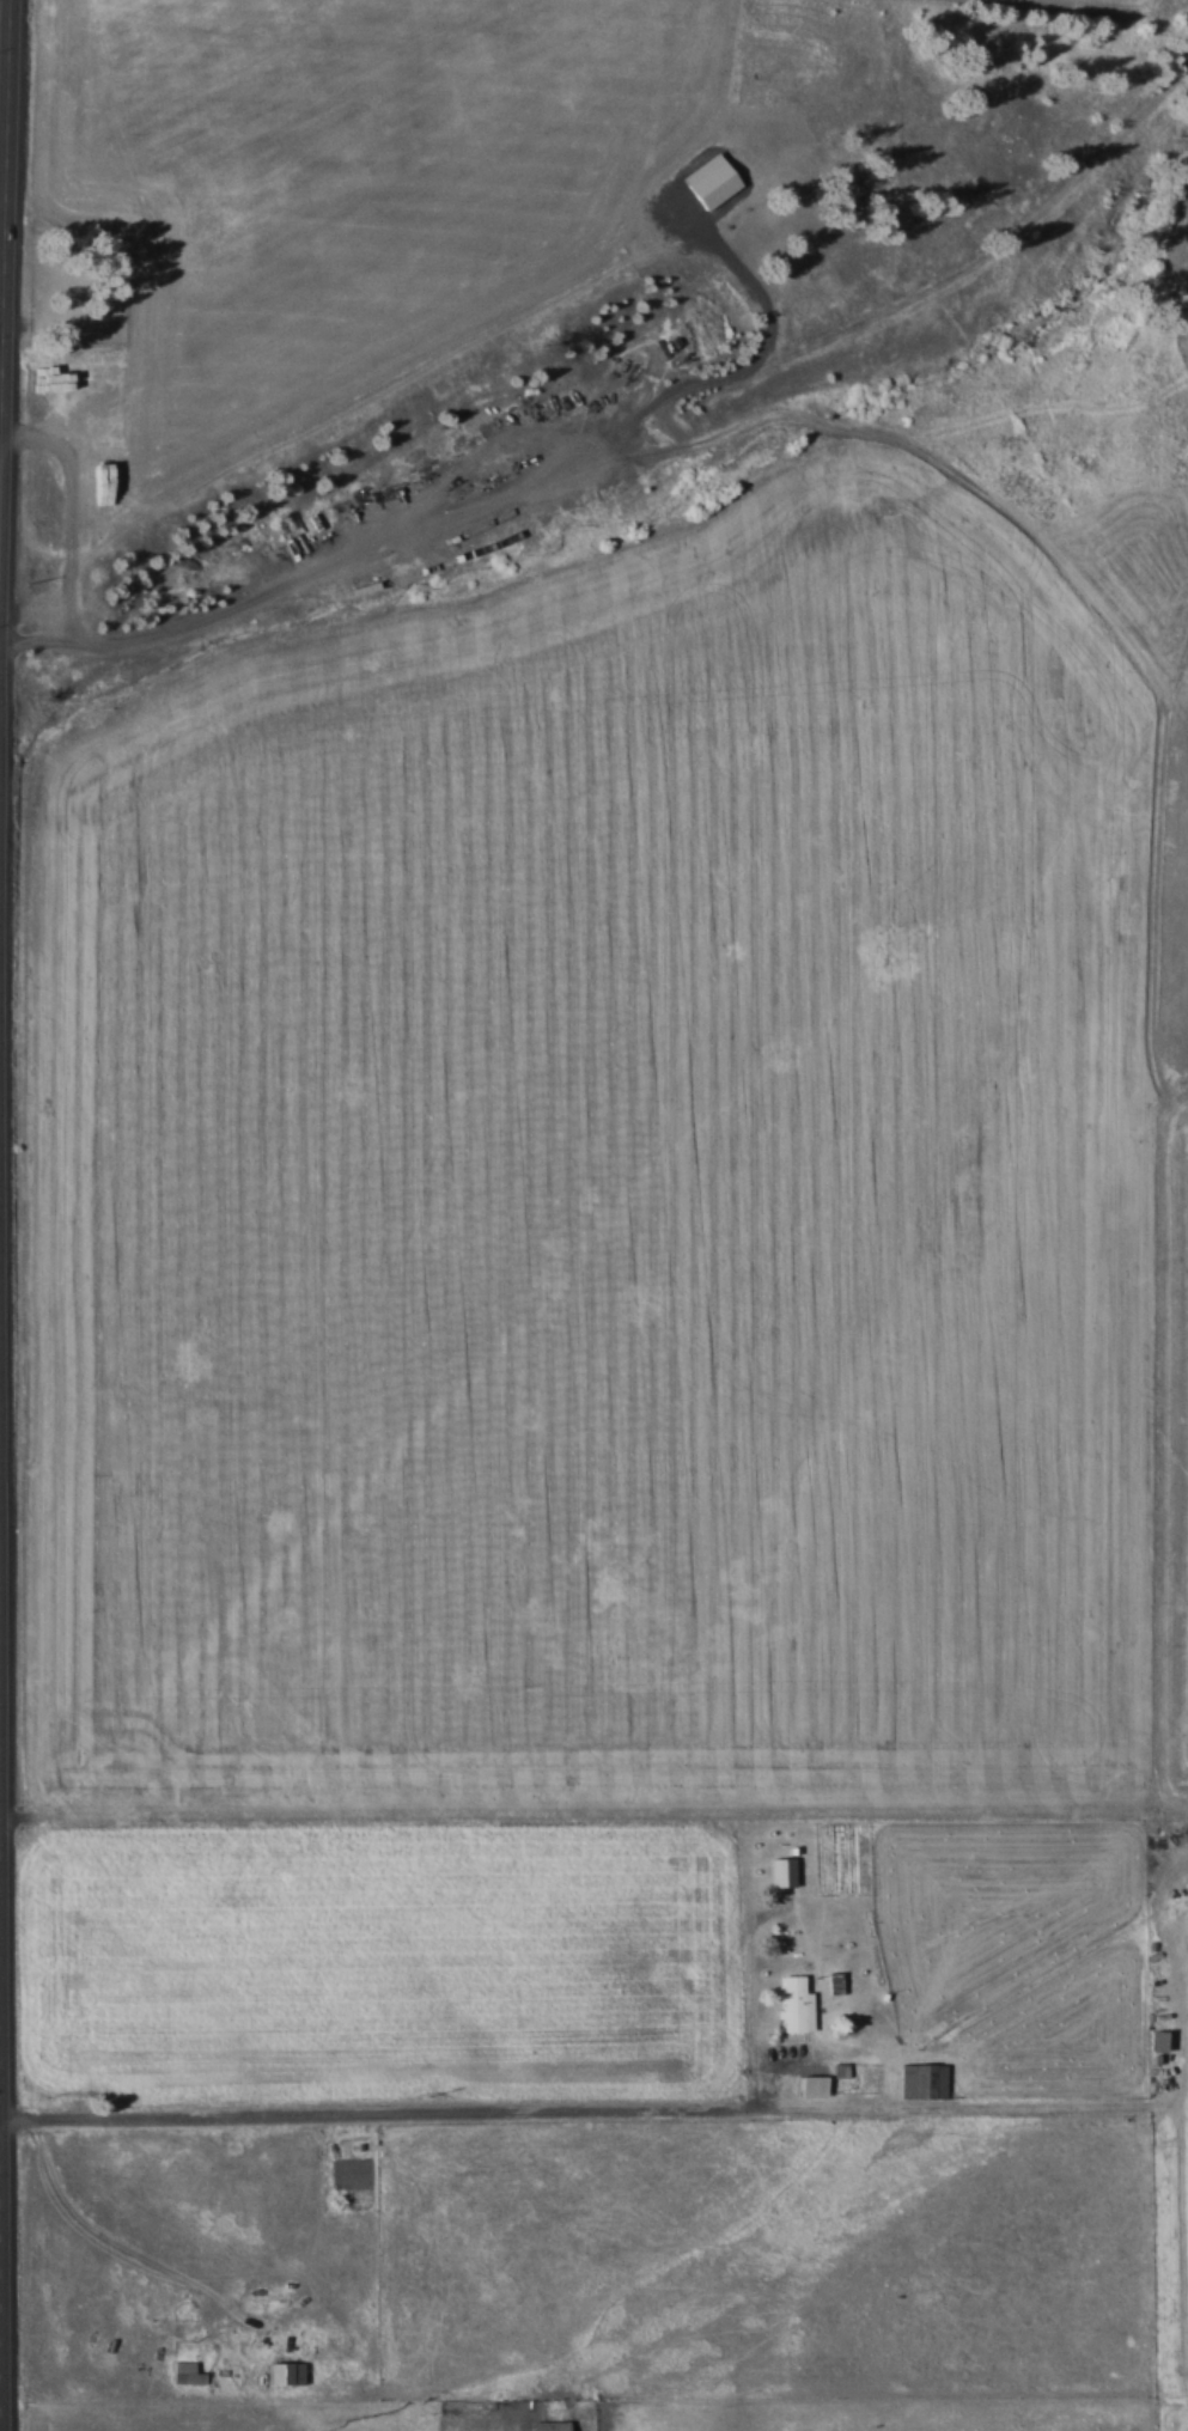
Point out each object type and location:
building: (709, 179)
park: (73, 276)
road: (10, 949)
building: (33, 1641)
building: (38, 1730)
building: (781, 1873)
building: (796, 2004)
building: (1157, 2042)
building: (922, 2080)
building: (811, 2086)
road: (390, 2109)
building: (285, 2372)
building: (185, 2374)
building: (550, 2425)

